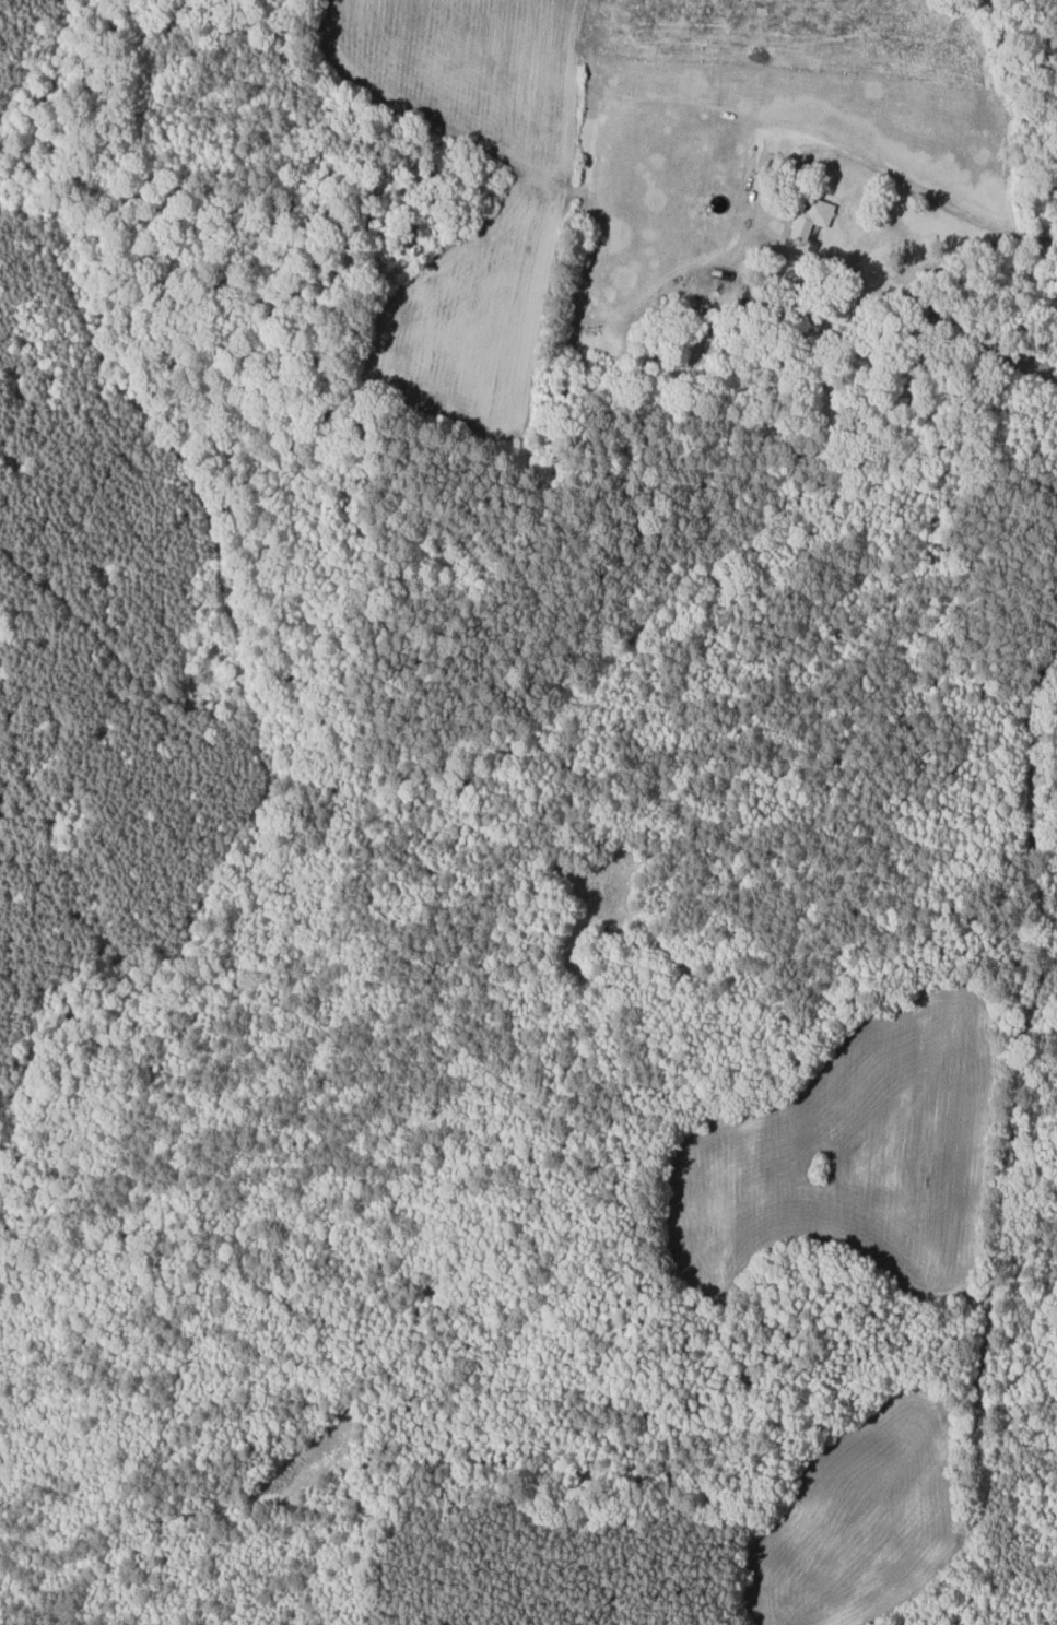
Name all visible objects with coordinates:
road: (867, 162)
building: (810, 219)

